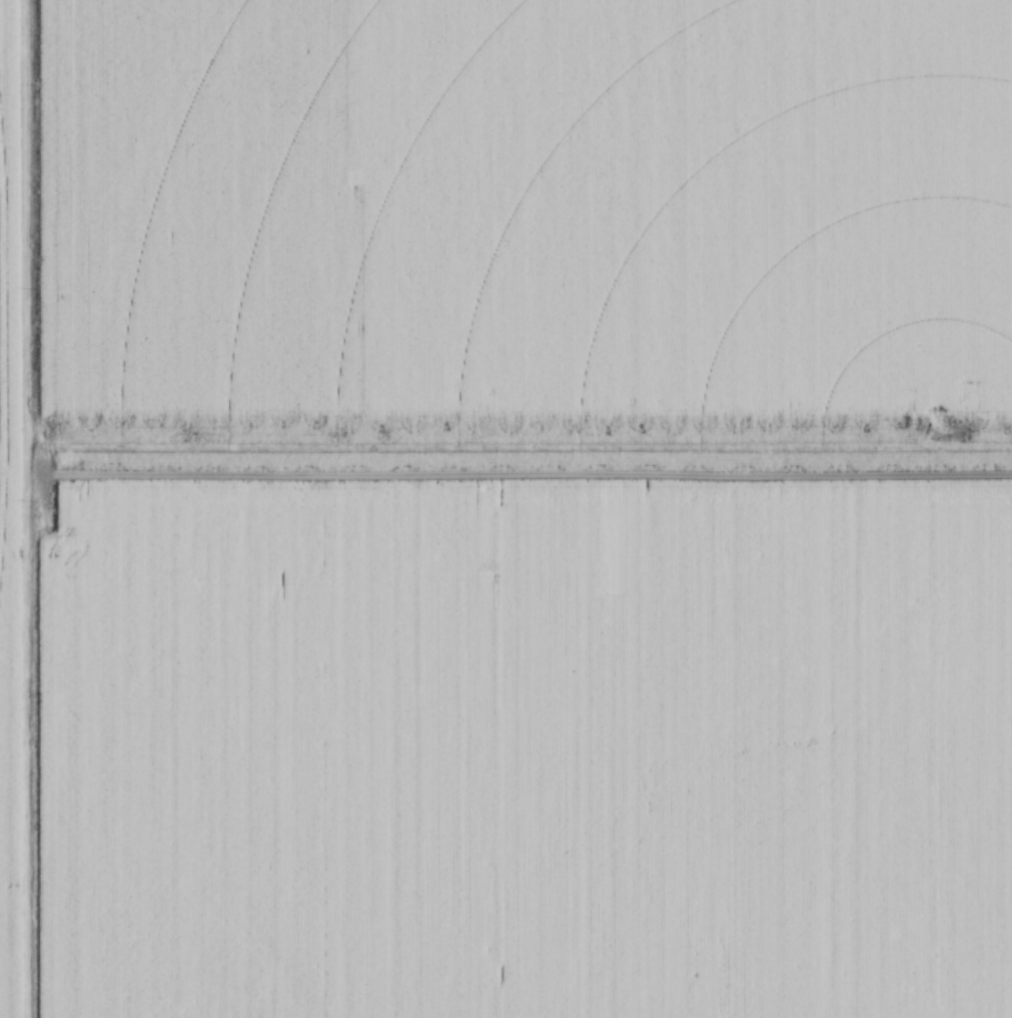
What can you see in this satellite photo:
crop: (506, 509)

